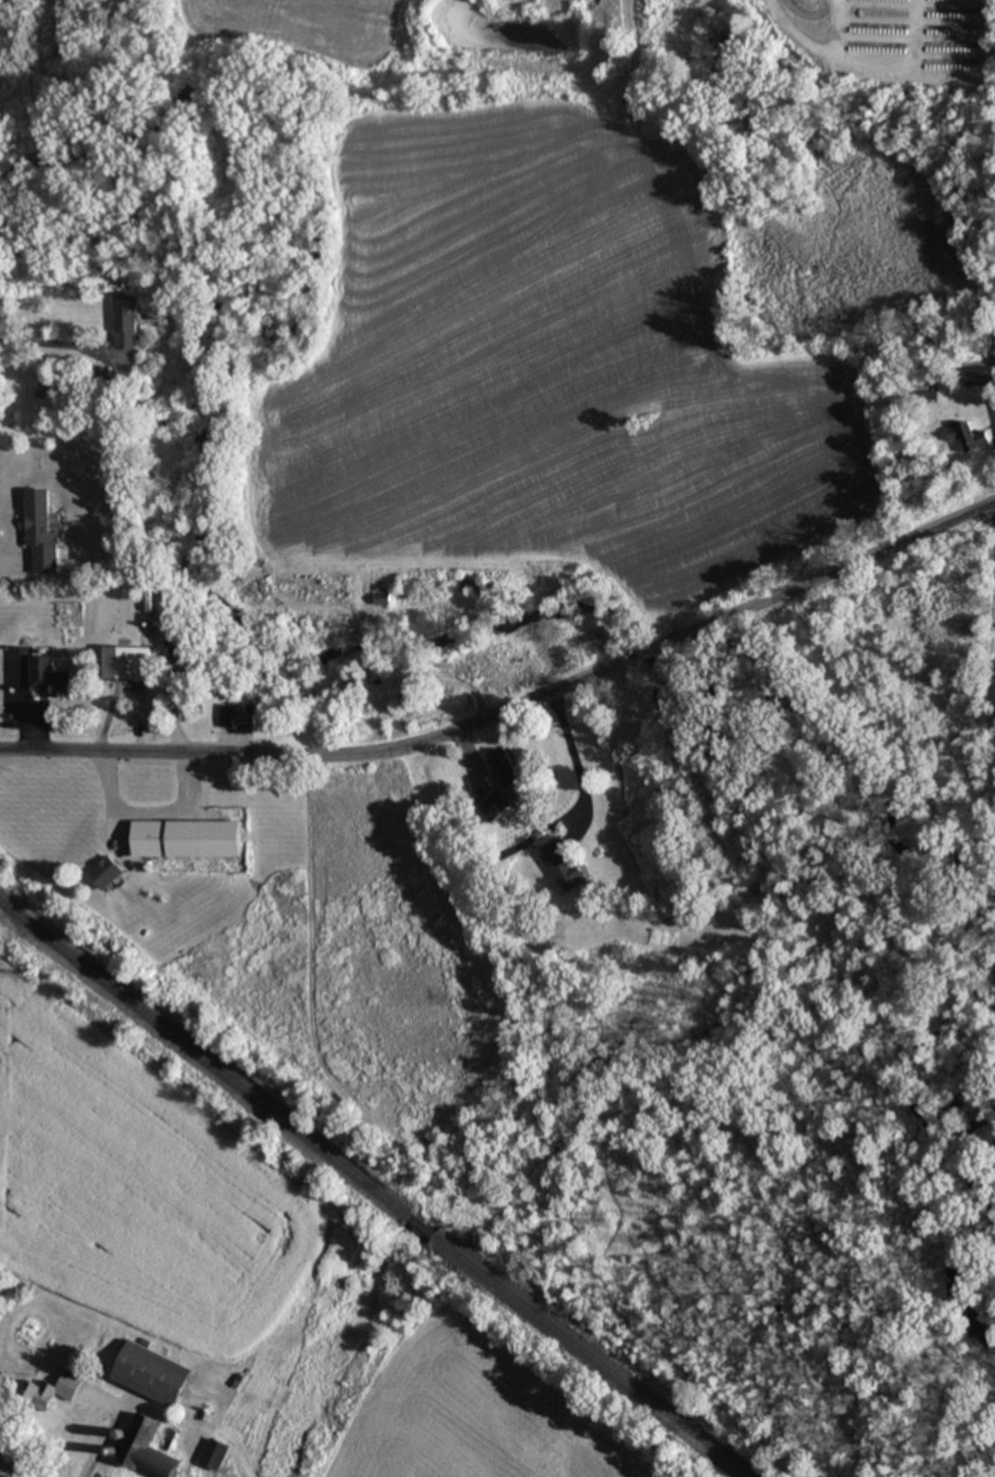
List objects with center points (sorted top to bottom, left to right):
building: (125, 321)
road: (48, 341)
building: (980, 375)
building: (968, 436)
building: (470, 585)
building: (382, 597)
building: (185, 655)
building: (119, 657)
building: (49, 676)
building: (240, 717)
road: (515, 720)
road: (569, 748)
building: (505, 767)
building: (494, 805)
road: (146, 811)
building: (187, 838)
building: (563, 863)
building: (106, 872)
railway: (204, 1060)
railway: (423, 1228)
railway: (592, 1358)
building: (153, 1374)
building: (54, 1389)
road: (100, 1442)
building: (148, 1449)
building: (214, 1453)

